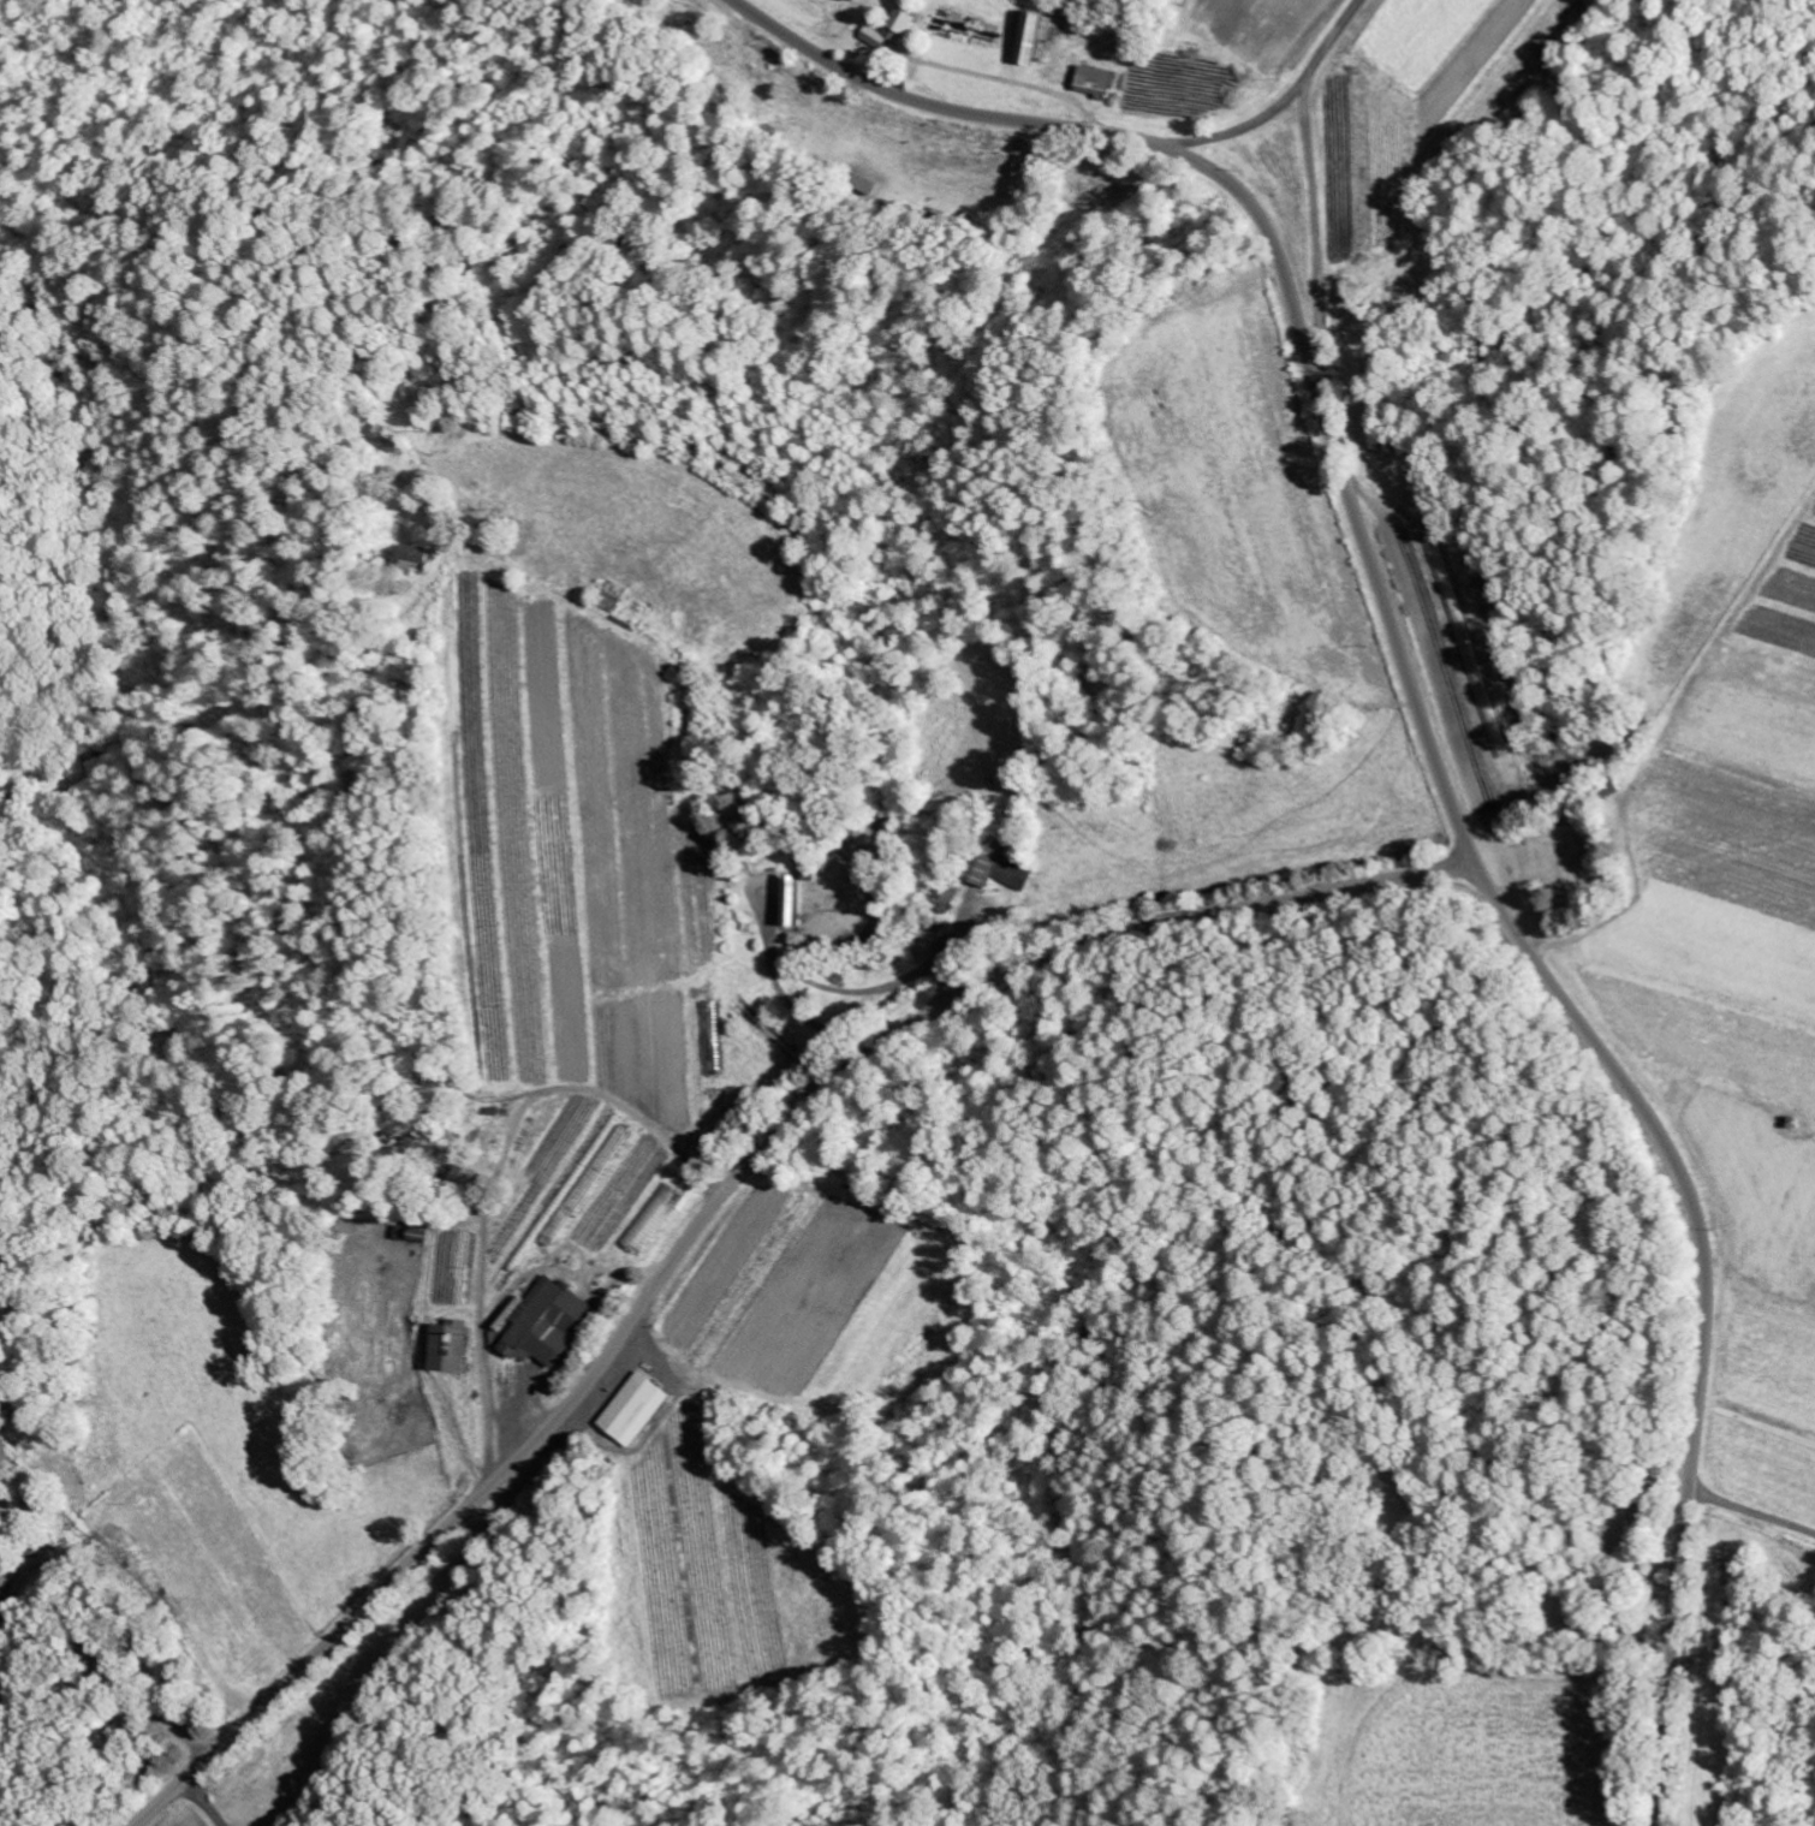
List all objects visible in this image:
building: (895, 26)
building: (1034, 32)
building: (1099, 81)
road: (1248, 129)
road: (1308, 174)
building: (422, 557)
road: (1433, 755)
building: (999, 866)
park: (1554, 869)
building: (947, 894)
building: (797, 900)
road: (714, 1201)
building: (546, 1325)
building: (451, 1346)
building: (633, 1409)
road: (305, 1464)
building: (1605, 1542)
road: (13, 1744)

